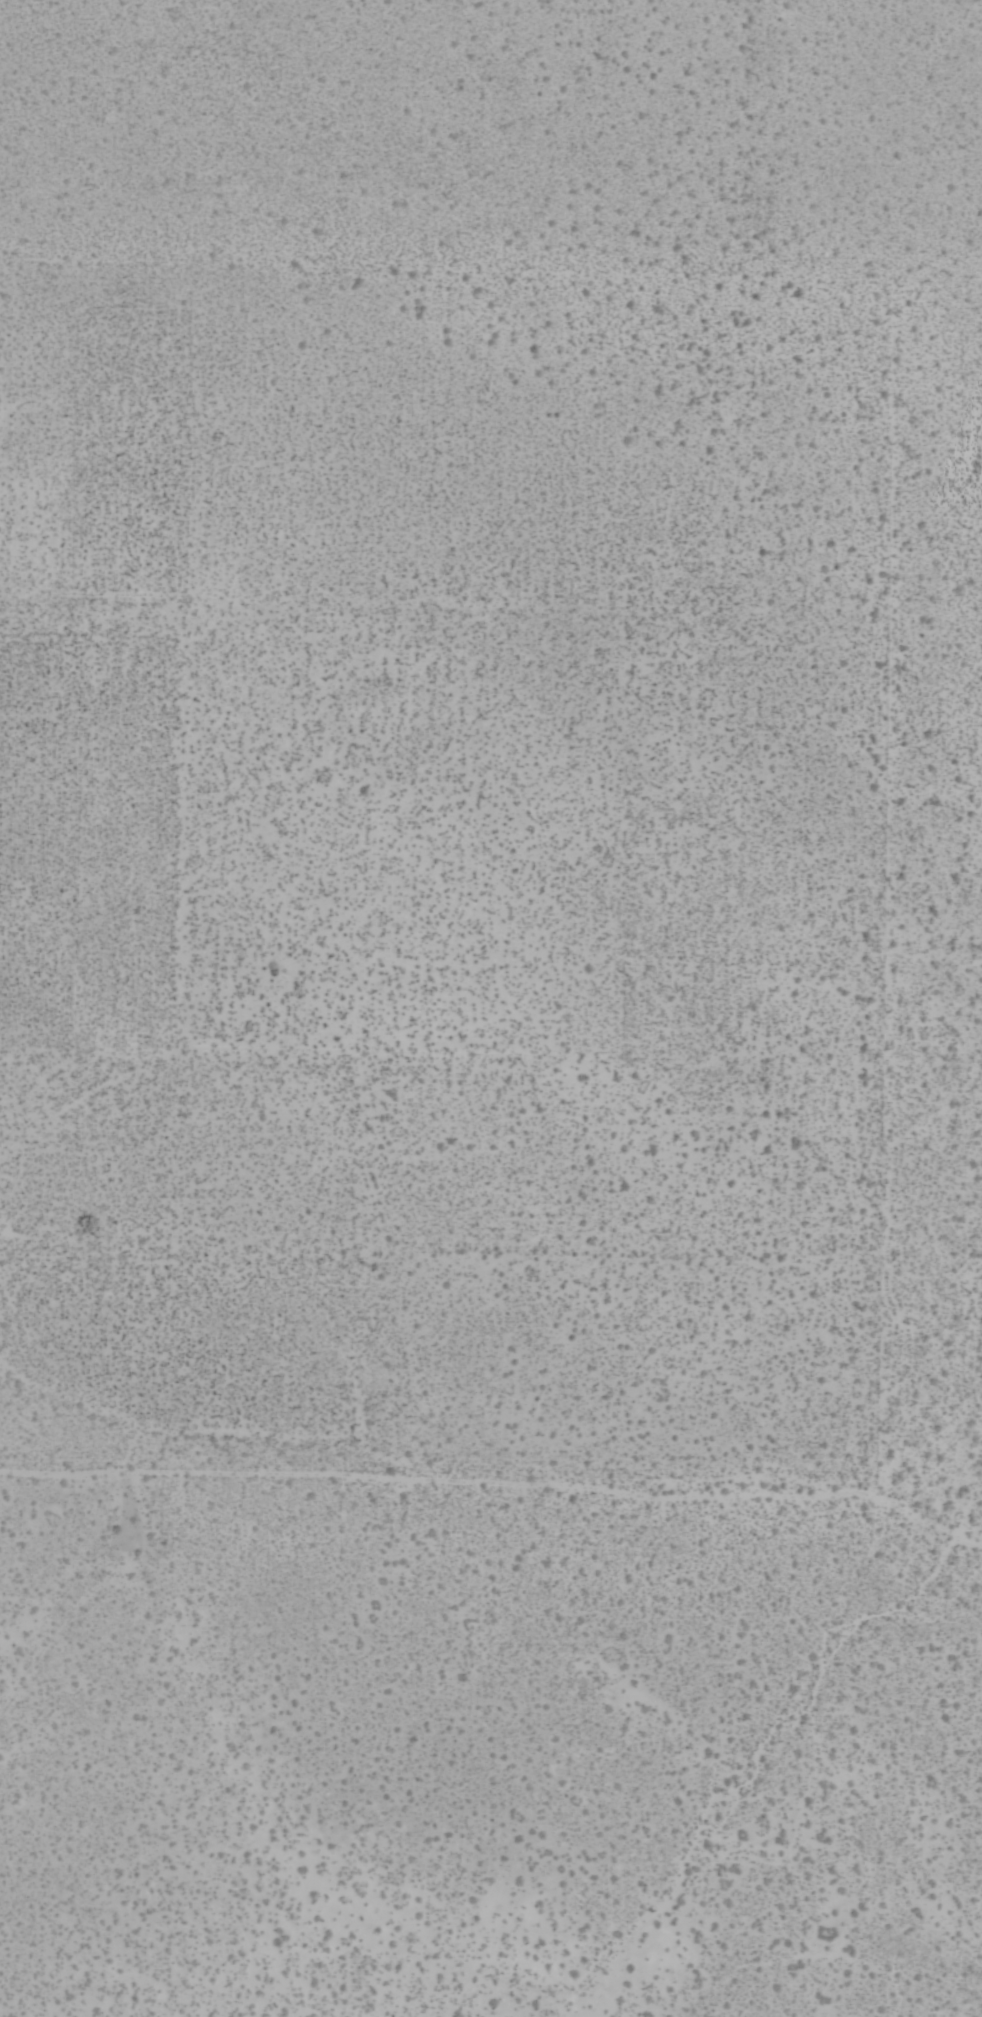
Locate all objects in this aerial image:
airport: (491, 1008)

